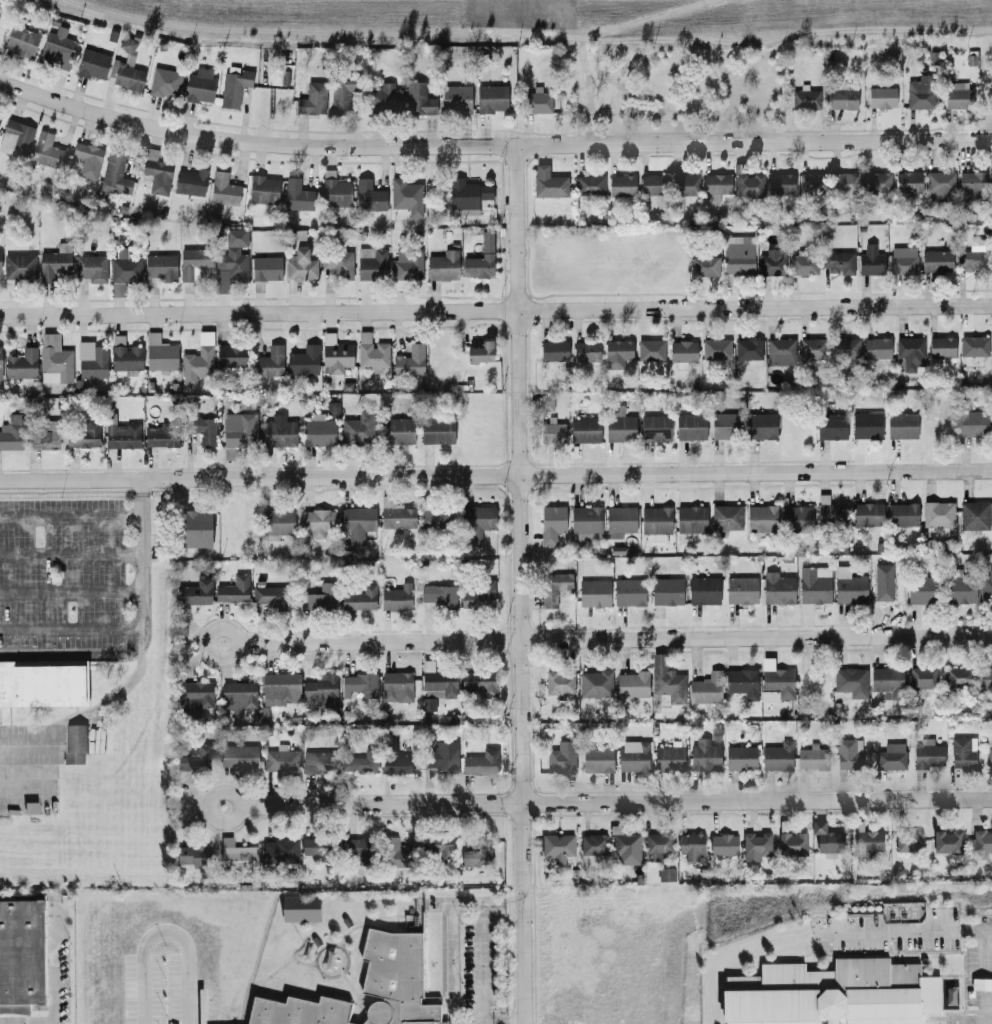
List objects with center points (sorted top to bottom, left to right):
building: (21, 41)
building: (126, 44)
building: (56, 48)
building: (92, 64)
building: (128, 77)
building: (164, 82)
building: (199, 85)
building: (234, 85)
building: (920, 93)
building: (342, 94)
building: (956, 95)
building: (842, 96)
building: (455, 97)
building: (881, 97)
building: (384, 98)
building: (491, 98)
building: (805, 98)
building: (312, 99)
building: (418, 99)
building: (538, 101)
building: (15, 138)
road: (491, 146)
building: (46, 150)
building: (87, 160)
building: (114, 174)
building: (157, 175)
building: (876, 181)
building: (190, 182)
building: (845, 182)
building: (908, 182)
building: (549, 183)
building: (812, 183)
building: (971, 183)
building: (780, 184)
building: (652, 185)
building: (685, 185)
building: (990, 185)
building: (589, 186)
building: (621, 186)
building: (716, 186)
building: (749, 186)
building: (940, 186)
building: (223, 189)
building: (263, 189)
building: (467, 193)
building: (297, 195)
building: (335, 195)
building: (368, 196)
building: (406, 196)
building: (233, 255)
building: (738, 255)
building: (971, 257)
building: (480, 259)
building: (0, 260)
building: (870, 260)
building: (902, 260)
building: (936, 261)
building: (54, 262)
building: (772, 262)
building: (837, 262)
building: (193, 263)
building: (371, 263)
building: (802, 263)
building: (337, 264)
building: (300, 265)
building: (443, 265)
building: (19, 266)
building: (160, 266)
building: (408, 266)
building: (704, 266)
building: (124, 267)
building: (91, 268)
building: (266, 268)
road: (495, 310)
building: (974, 346)
building: (941, 347)
building: (846, 348)
building: (876, 348)
building: (715, 349)
building: (748, 349)
building: (812, 349)
building: (650, 350)
building: (553, 351)
building: (586, 351)
building: (780, 351)
building: (480, 352)
building: (682, 352)
building: (910, 352)
building: (159, 353)
building: (617, 353)
building: (125, 355)
building: (373, 355)
building: (231, 356)
building: (336, 357)
building: (198, 359)
building: (54, 360)
building: (304, 360)
building: (409, 361)
building: (270, 362)
building: (0, 363)
building: (21, 364)
building: (94, 364)
building: (546, 401)
building: (972, 424)
building: (866, 425)
building: (902, 425)
building: (690, 426)
building: (723, 426)
building: (831, 426)
building: (655, 427)
building: (620, 428)
building: (239, 429)
building: (585, 429)
building: (204, 430)
building: (436, 430)
building: (318, 431)
building: (356, 431)
building: (397, 431)
building: (11, 432)
building: (279, 432)
building: (121, 433)
building: (82, 434)
building: (161, 434)
building: (44, 436)
road: (496, 476)
building: (830, 512)
building: (902, 514)
building: (938, 514)
building: (867, 515)
building: (974, 515)
road: (70, 517)
building: (397, 517)
building: (437, 517)
building: (726, 517)
building: (761, 518)
building: (796, 518)
building: (690, 519)
building: (477, 520)
building: (277, 521)
building: (619, 521)
building: (317, 522)
building: (586, 522)
building: (357, 523)
building: (551, 523)
building: (656, 523)
building: (197, 528)
road: (70, 555)
road: (140, 562)
road: (523, 585)
building: (814, 585)
building: (555, 587)
building: (985, 587)
building: (777, 588)
building: (886, 588)
building: (850, 589)
building: (960, 589)
building: (233, 590)
building: (703, 590)
building: (741, 590)
building: (921, 590)
building: (666, 591)
road: (70, 592)
building: (196, 592)
building: (629, 592)
building: (477, 593)
building: (594, 593)
building: (439, 595)
building: (269, 596)
building: (396, 597)
building: (320, 598)
building: (359, 598)
road: (70, 630)
road: (608, 639)
road: (70, 655)
building: (957, 677)
building: (922, 678)
building: (984, 678)
building: (666, 680)
building: (777, 680)
building: (850, 680)
building: (887, 681)
building: (43, 682)
building: (741, 682)
building: (478, 683)
building: (559, 683)
building: (360, 684)
building: (595, 684)
building: (631, 684)
building: (435, 685)
building: (396, 686)
building: (279, 688)
building: (706, 688)
building: (320, 691)
building: (196, 696)
building: (238, 696)
road: (71, 716)
building: (74, 744)
road: (34, 747)
building: (963, 752)
building: (927, 753)
building: (989, 753)
building: (848, 754)
building: (441, 755)
building: (704, 755)
building: (240, 756)
building: (633, 756)
building: (669, 756)
building: (777, 756)
building: (890, 756)
building: (561, 757)
building: (812, 757)
building: (740, 758)
building: (597, 759)
building: (195, 761)
building: (282, 761)
building: (320, 763)
building: (363, 763)
building: (481, 763)
building: (396, 764)
road: (28, 789)
road: (608, 804)
building: (34, 809)
building: (828, 841)
building: (910, 843)
building: (949, 843)
building: (794, 845)
building: (870, 845)
building: (982, 845)
building: (595, 846)
building: (725, 846)
building: (660, 847)
building: (693, 847)
building: (757, 847)
building: (439, 848)
building: (559, 848)
building: (627, 848)
building: (320, 850)
building: (282, 852)
building: (360, 852)
building: (481, 854)
building: (398, 855)
building: (195, 857)
building: (238, 857)
building: (667, 876)
road: (469, 903)
building: (302, 910)
road: (820, 933)
road: (166, 936)
building: (22, 955)
road: (54, 964)
road: (451, 964)
road: (480, 970)
road: (984, 977)
building: (397, 980)
building: (833, 994)
building: (952, 997)
building: (301, 1012)
road: (978, 1022)
road: (502, 1023)

